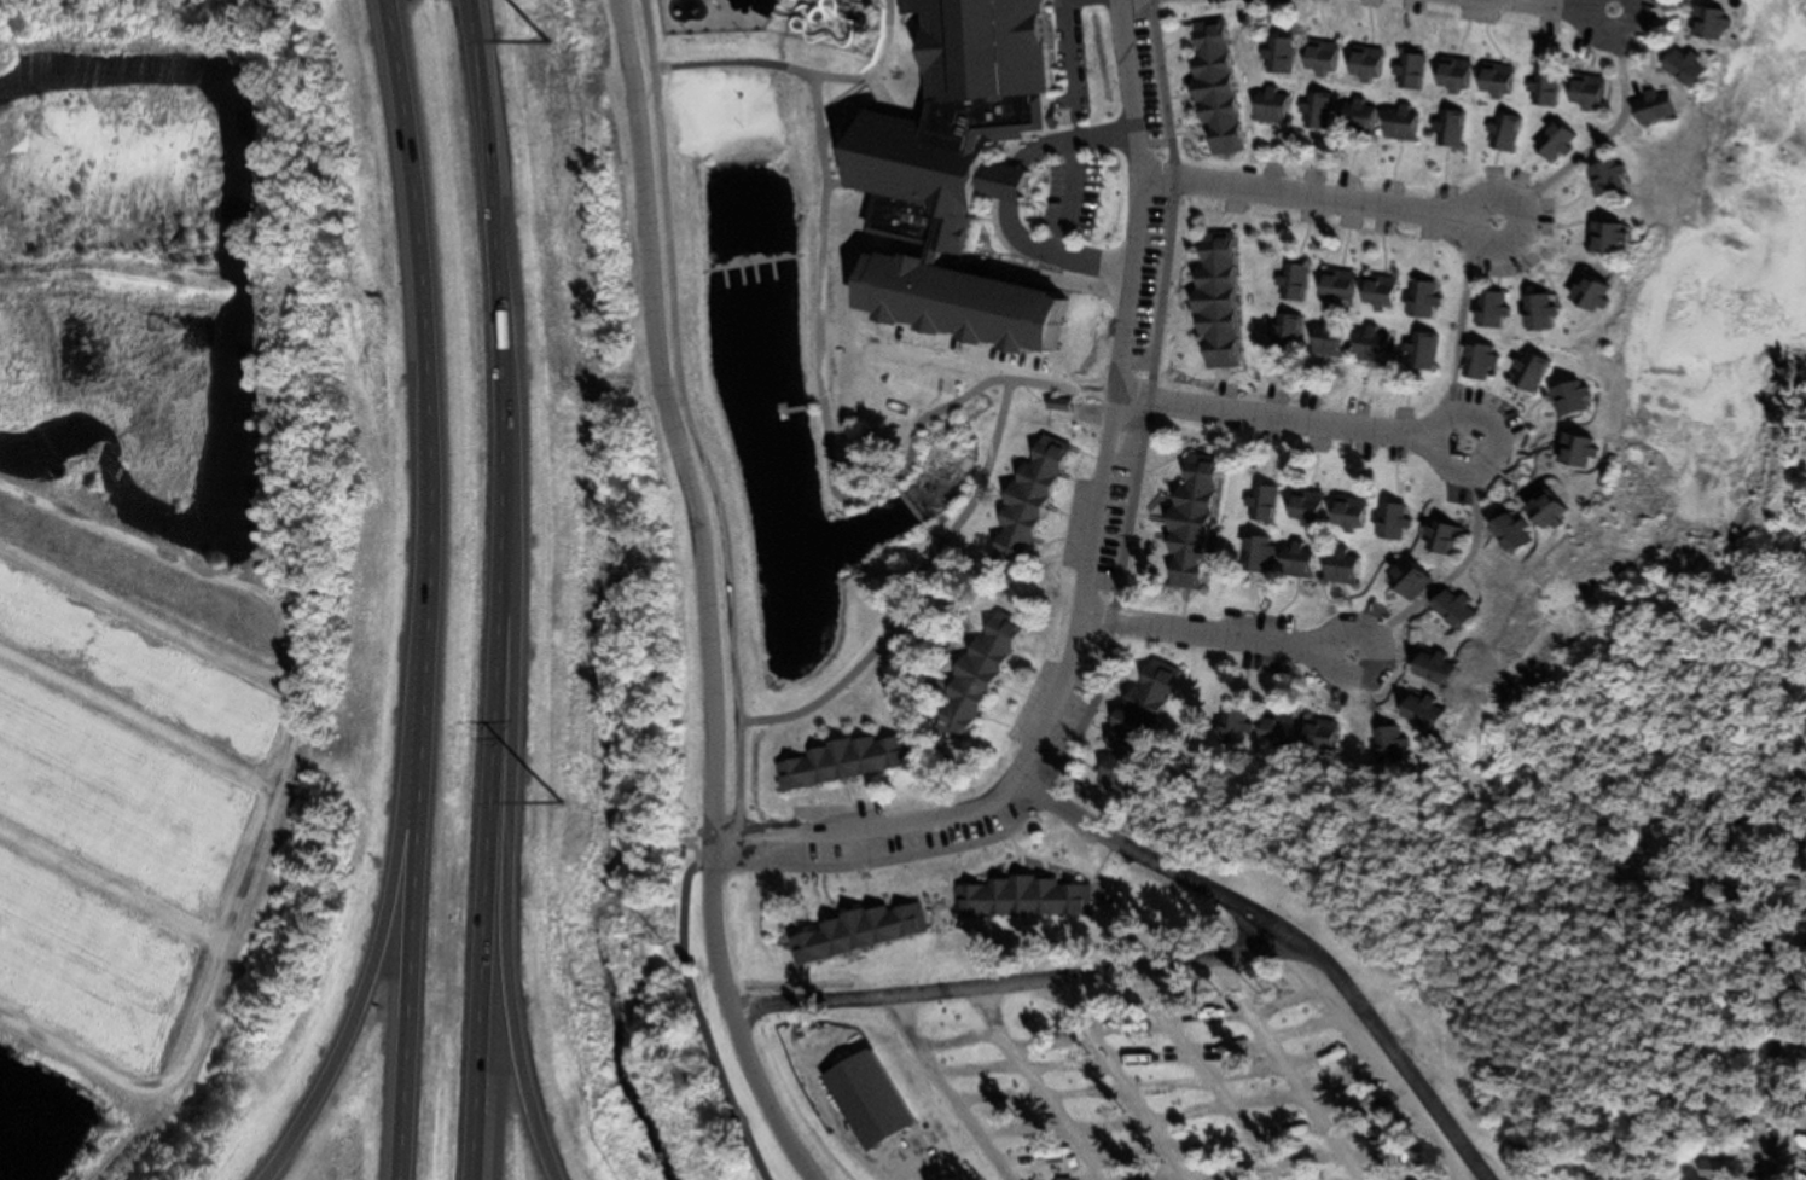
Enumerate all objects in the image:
road: (1572, 5)
building: (1706, 24)
power tower: (547, 42)
building: (1276, 57)
building: (1318, 59)
building: (1361, 64)
building: (1679, 66)
building: (1410, 72)
building: (1451, 75)
building: (1493, 81)
building: (1543, 89)
building: (1580, 91)
building: (1210, 93)
building: (1266, 106)
building: (1649, 106)
building: (1314, 114)
building: (1355, 118)
building: (1399, 124)
building: (1450, 129)
building: (1502, 134)
building: (1550, 143)
building: (1603, 178)
building: (941, 179)
road: (1317, 199)
building: (1604, 239)
building: (1291, 284)
building: (1332, 285)
building: (1375, 292)
building: (1587, 297)
building: (1212, 300)
building: (1421, 301)
building: (1488, 313)
building: (1537, 315)
road: (1458, 326)
building: (1287, 335)
building: (1325, 341)
building: (1369, 345)
building: (1422, 351)
building: (1477, 362)
building: (1526, 373)
road: (994, 383)
building: (1567, 400)
road: (1290, 419)
building: (1574, 453)
building: (416, 463)
building: (1024, 501)
building: (1264, 504)
building: (1302, 507)
building: (1543, 511)
building: (1347, 515)
building: (1187, 521)
building: (1394, 523)
building: (1508, 534)
building: (1446, 540)
road: (1088, 553)
building: (1278, 559)
building: (1341, 568)
road: (1120, 579)
building: (1410, 586)
road: (420, 588)
road: (494, 589)
road: (705, 595)
building: (1452, 610)
road: (1216, 635)
building: (1432, 668)
building: (972, 679)
building: (1146, 693)
building: (1419, 711)
building: (1235, 728)
building: (1274, 731)
building: (1318, 736)
building: (1388, 748)
building: (837, 765)
building: (1110, 774)
power tower: (562, 801)
road: (505, 849)
building: (1796, 885)
building: (1023, 897)
road: (381, 929)
building: (856, 929)
road: (1287, 935)
building: (1772, 954)
road: (1007, 984)
building: (396, 1045)
road: (1283, 1071)
road: (1200, 1075)
road: (1116, 1079)
road: (1033, 1086)
road: (946, 1091)
building: (863, 1098)
road: (1767, 1099)
building: (1190, 1115)
building: (1713, 1170)
building: (1790, 1174)

